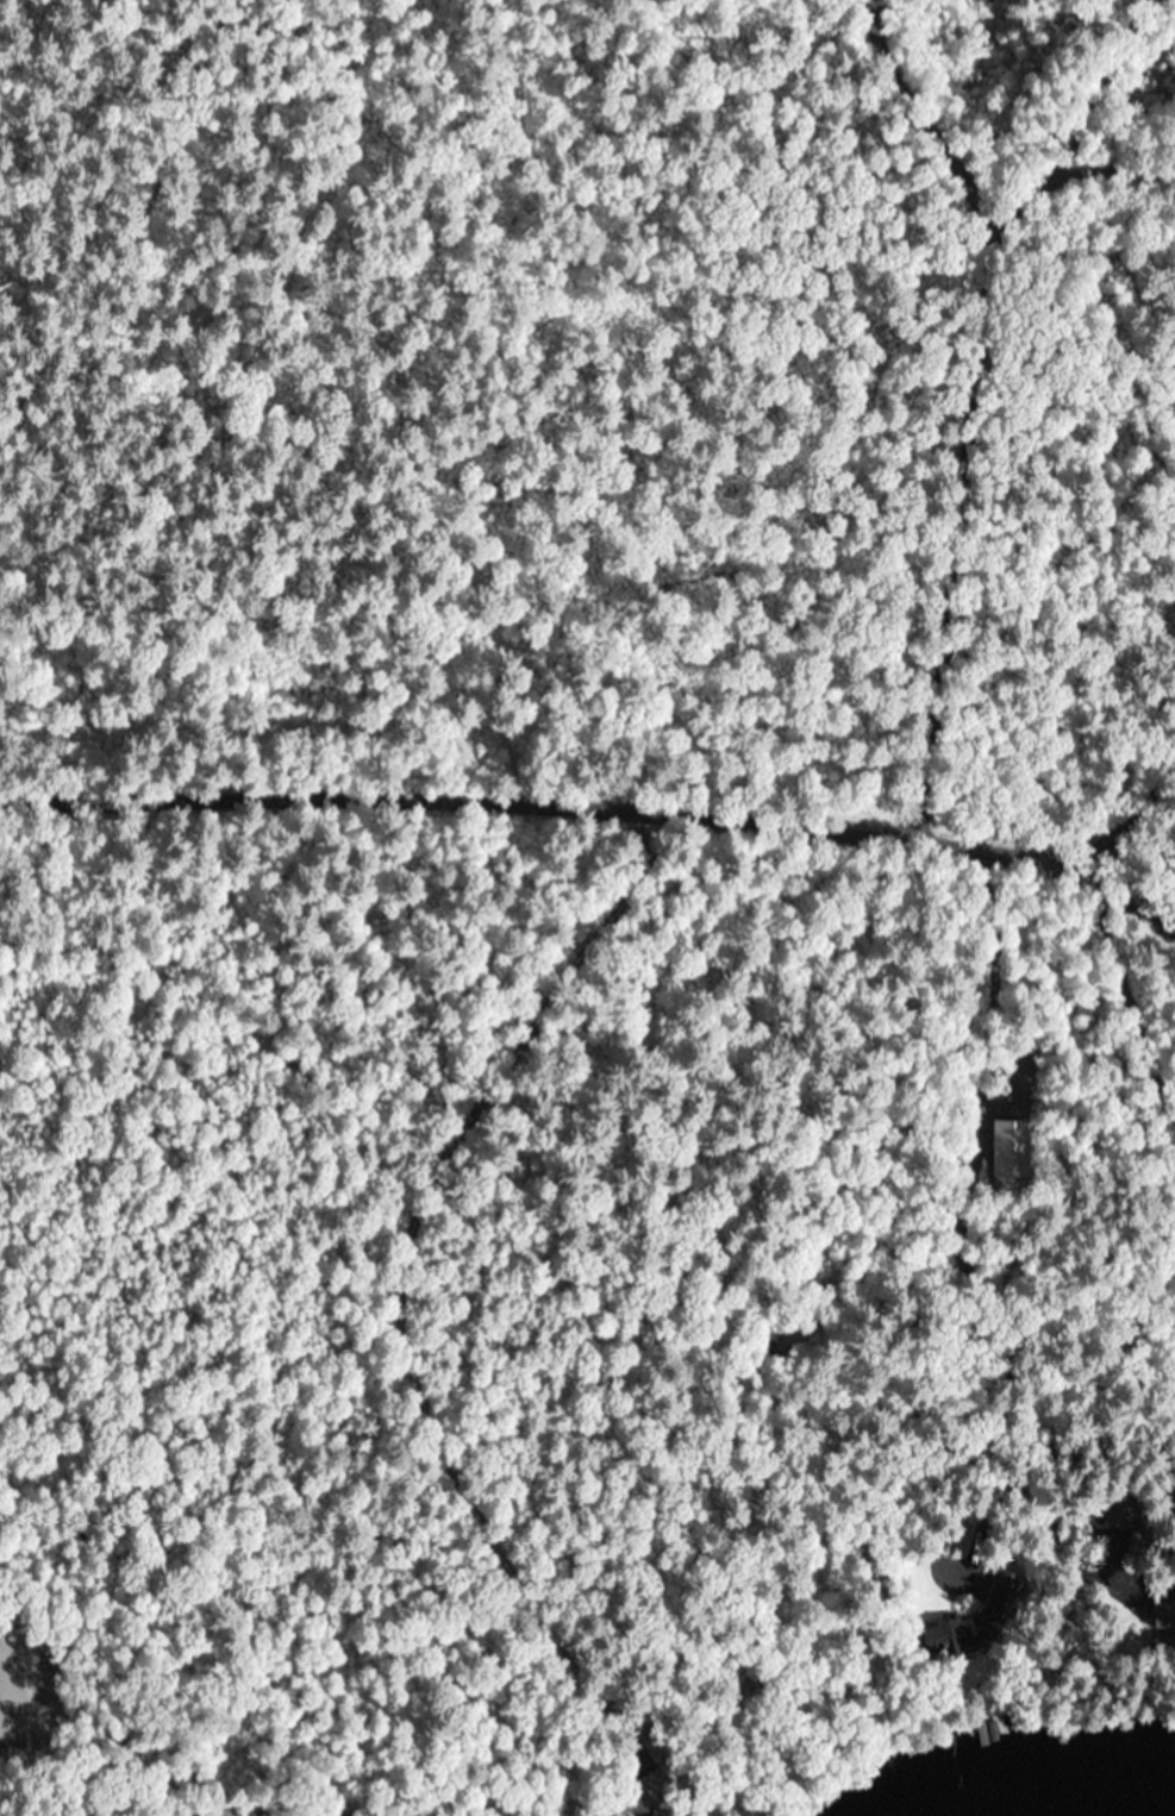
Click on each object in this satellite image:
road: (1081, 268)
road: (962, 426)
road: (601, 808)
road: (1110, 1273)
road: (399, 1300)
building: (1111, 1601)
building: (1163, 1622)
building: (940, 1637)
building: (630, 1802)

